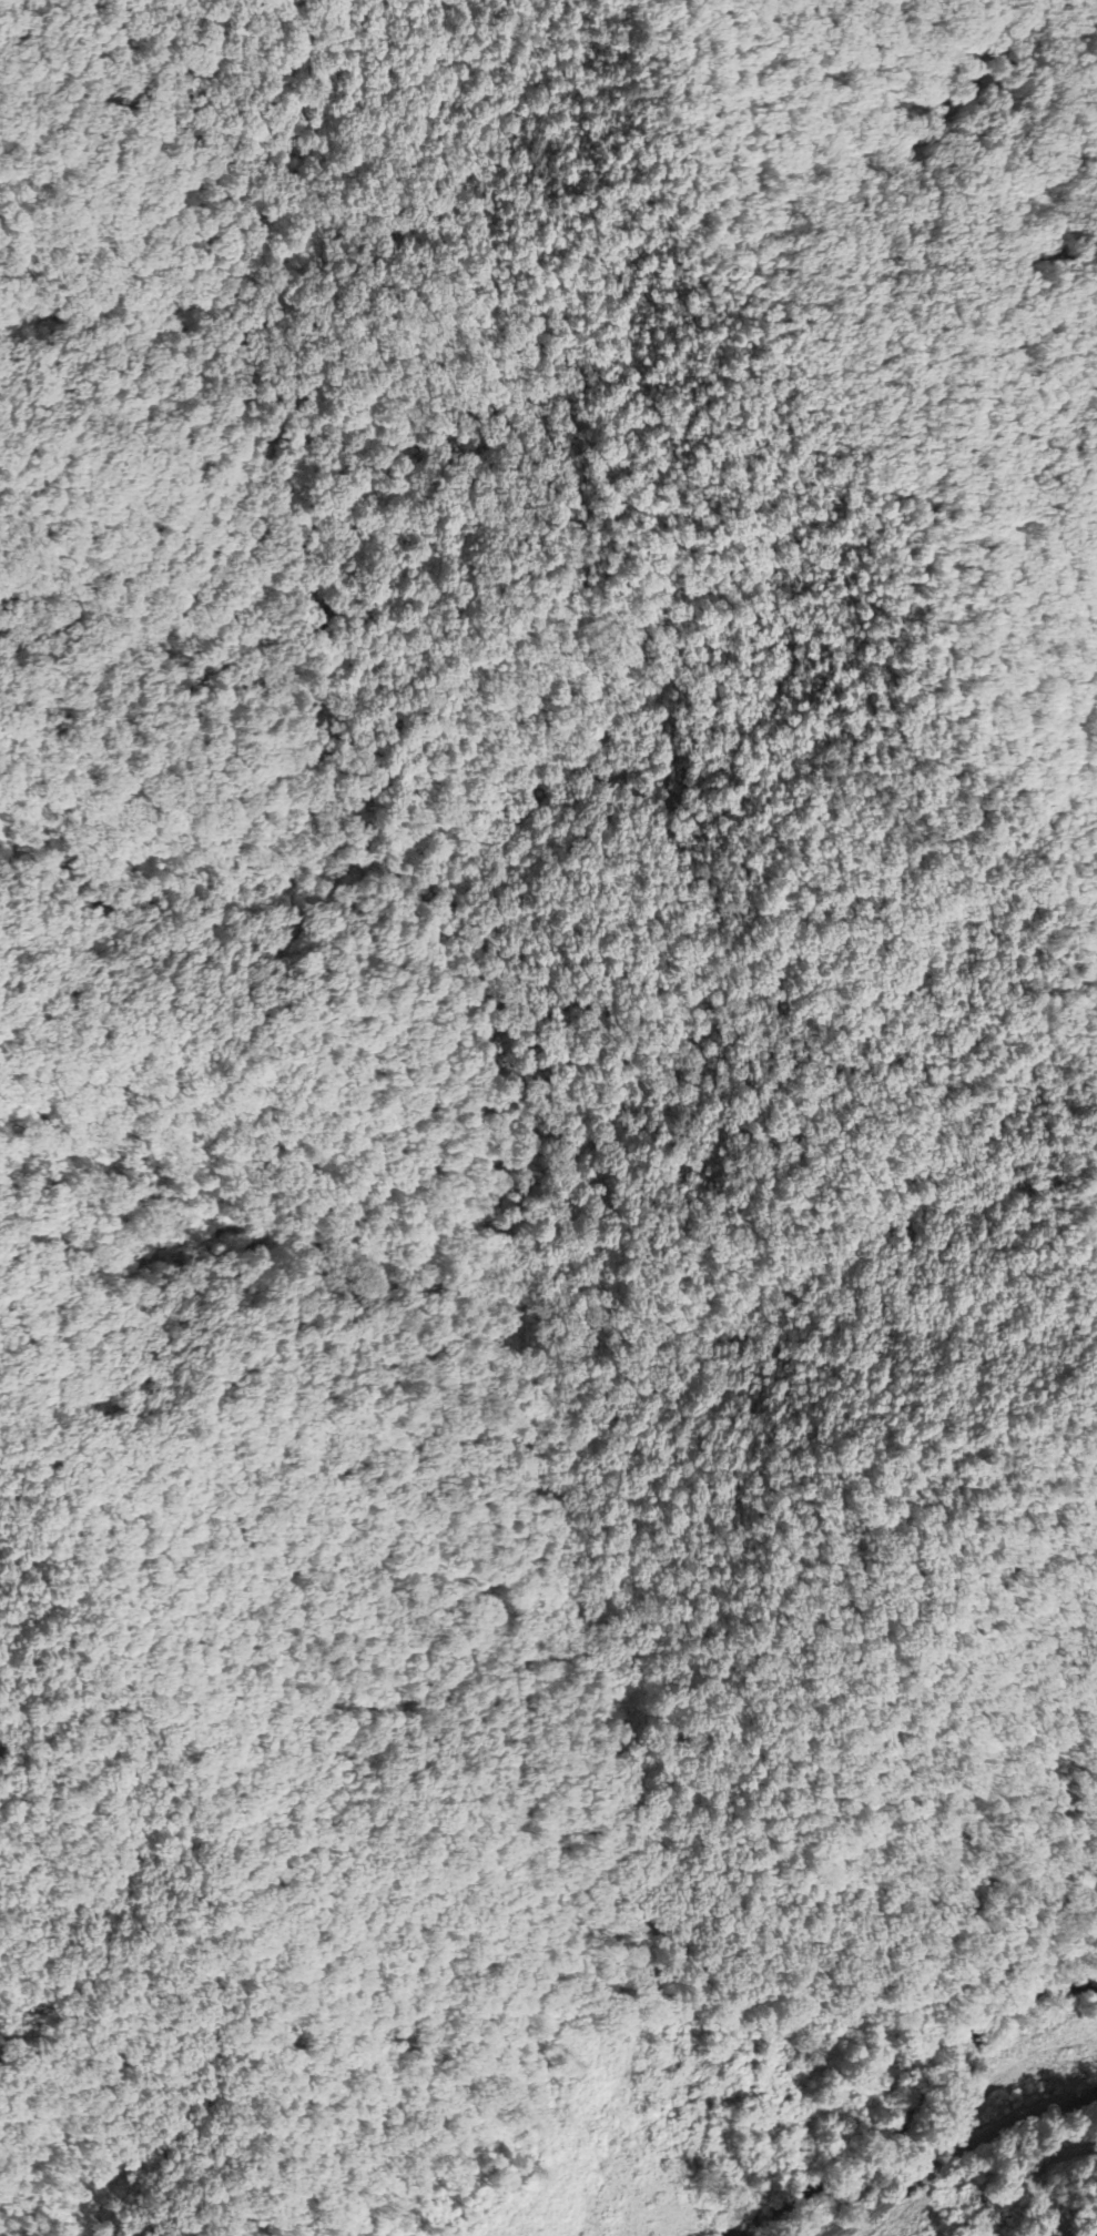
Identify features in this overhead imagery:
river: (915, 2114)
road: (921, 2148)
railway: (959, 2154)
road: (1039, 2181)

